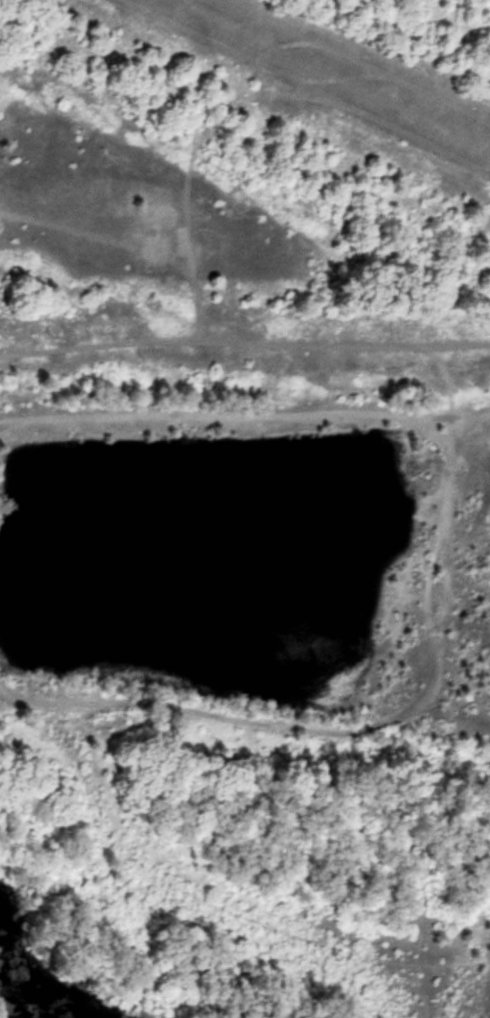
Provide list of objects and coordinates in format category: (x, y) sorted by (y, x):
road: (244, 343)
road: (460, 414)
park: (245, 509)
road: (444, 564)
road: (229, 901)

